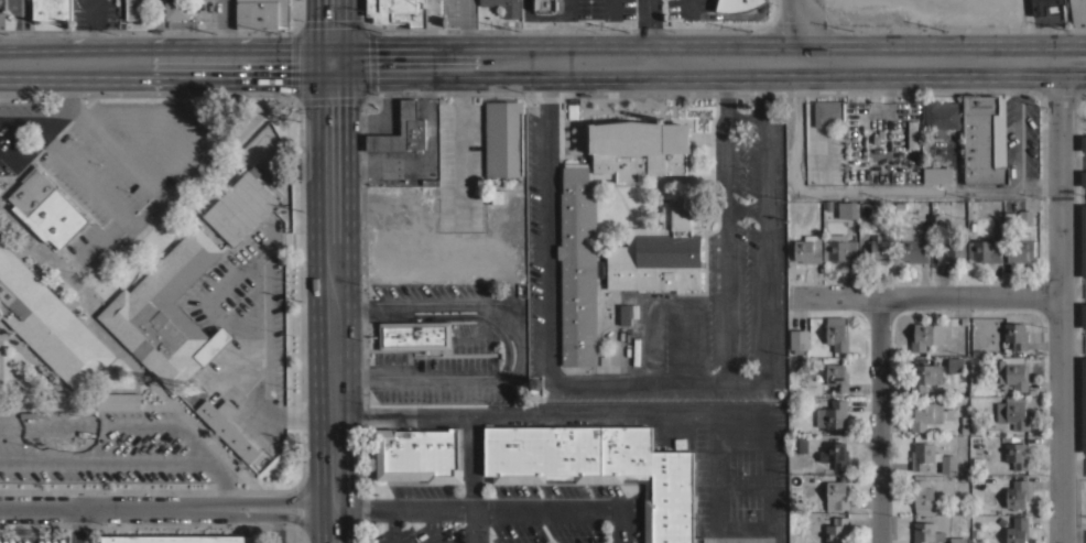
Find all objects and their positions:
building: (736, 4)
building: (503, 7)
building: (544, 7)
parking lot: (639, 7)
building: (1045, 7)
road: (569, 8)
road: (689, 8)
building: (51, 9)
building: (134, 9)
building: (176, 9)
road: (610, 9)
building: (397, 11)
building: (1077, 11)
building: (262, 13)
road: (730, 15)
road: (541, 17)
road: (460, 31)
road: (649, 31)
road: (800, 31)
road: (226, 32)
road: (332, 32)
road: (543, 63)
traffic signals: (333, 64)
road: (544, 87)
road: (759, 93)
road: (727, 95)
building: (826, 111)
road: (743, 115)
building: (941, 116)
road: (52, 121)
road: (25, 122)
road: (1019, 124)
building: (401, 131)
building: (911, 134)
building: (502, 138)
building: (982, 139)
road: (461, 140)
road: (46, 145)
road: (121, 153)
parking lot: (107, 161)
road: (957, 162)
building: (936, 175)
road: (8, 177)
building: (427, 177)
road: (85, 178)
road: (867, 191)
road: (181, 192)
building: (496, 196)
building: (240, 205)
building: (45, 208)
road: (745, 209)
building: (846, 209)
road: (145, 210)
building: (865, 210)
building: (1024, 217)
building: (577, 221)
road: (208, 224)
road: (101, 236)
building: (912, 246)
parking lot: (655, 248)
building: (838, 248)
building: (1020, 248)
building: (807, 249)
building: (875, 249)
building: (984, 250)
building: (660, 251)
road: (764, 251)
building: (949, 251)
road: (726, 254)
road: (68, 261)
road: (55, 262)
road: (238, 270)
road: (333, 282)
road: (544, 291)
road: (930, 296)
road: (1063, 301)
road: (660, 302)
building: (166, 313)
building: (625, 314)
road: (442, 316)
parking lot: (243, 318)
building: (48, 324)
building: (835, 333)
building: (414, 335)
building: (924, 335)
building: (1014, 335)
road: (519, 339)
building: (797, 339)
building: (975, 352)
road: (236, 358)
building: (954, 363)
road: (262, 366)
road: (39, 368)
building: (1012, 372)
building: (924, 376)
building: (836, 377)
road: (702, 381)
road: (113, 390)
road: (62, 397)
building: (118, 401)
road: (170, 403)
road: (86, 405)
building: (1008, 413)
building: (830, 414)
building: (928, 414)
road: (65, 416)
road: (556, 416)
road: (881, 420)
road: (89, 426)
building: (227, 428)
building: (963, 430)
building: (797, 443)
parking lot: (105, 448)
road: (203, 450)
building: (834, 454)
building: (417, 455)
building: (1016, 455)
building: (930, 457)
road: (106, 459)
building: (976, 459)
building: (599, 467)
road: (476, 479)
road: (779, 479)
road: (227, 490)
building: (1016, 493)
building: (836, 495)
building: (921, 495)
road: (280, 500)
road: (334, 502)
road: (113, 506)
road: (476, 506)
road: (279, 514)
road: (333, 523)
road: (392, 524)
road: (435, 524)
road: (619, 524)
road: (275, 529)
building: (836, 530)
building: (1017, 530)
building: (925, 532)
road: (1074, 533)
building: (176, 539)
building: (957, 540)

